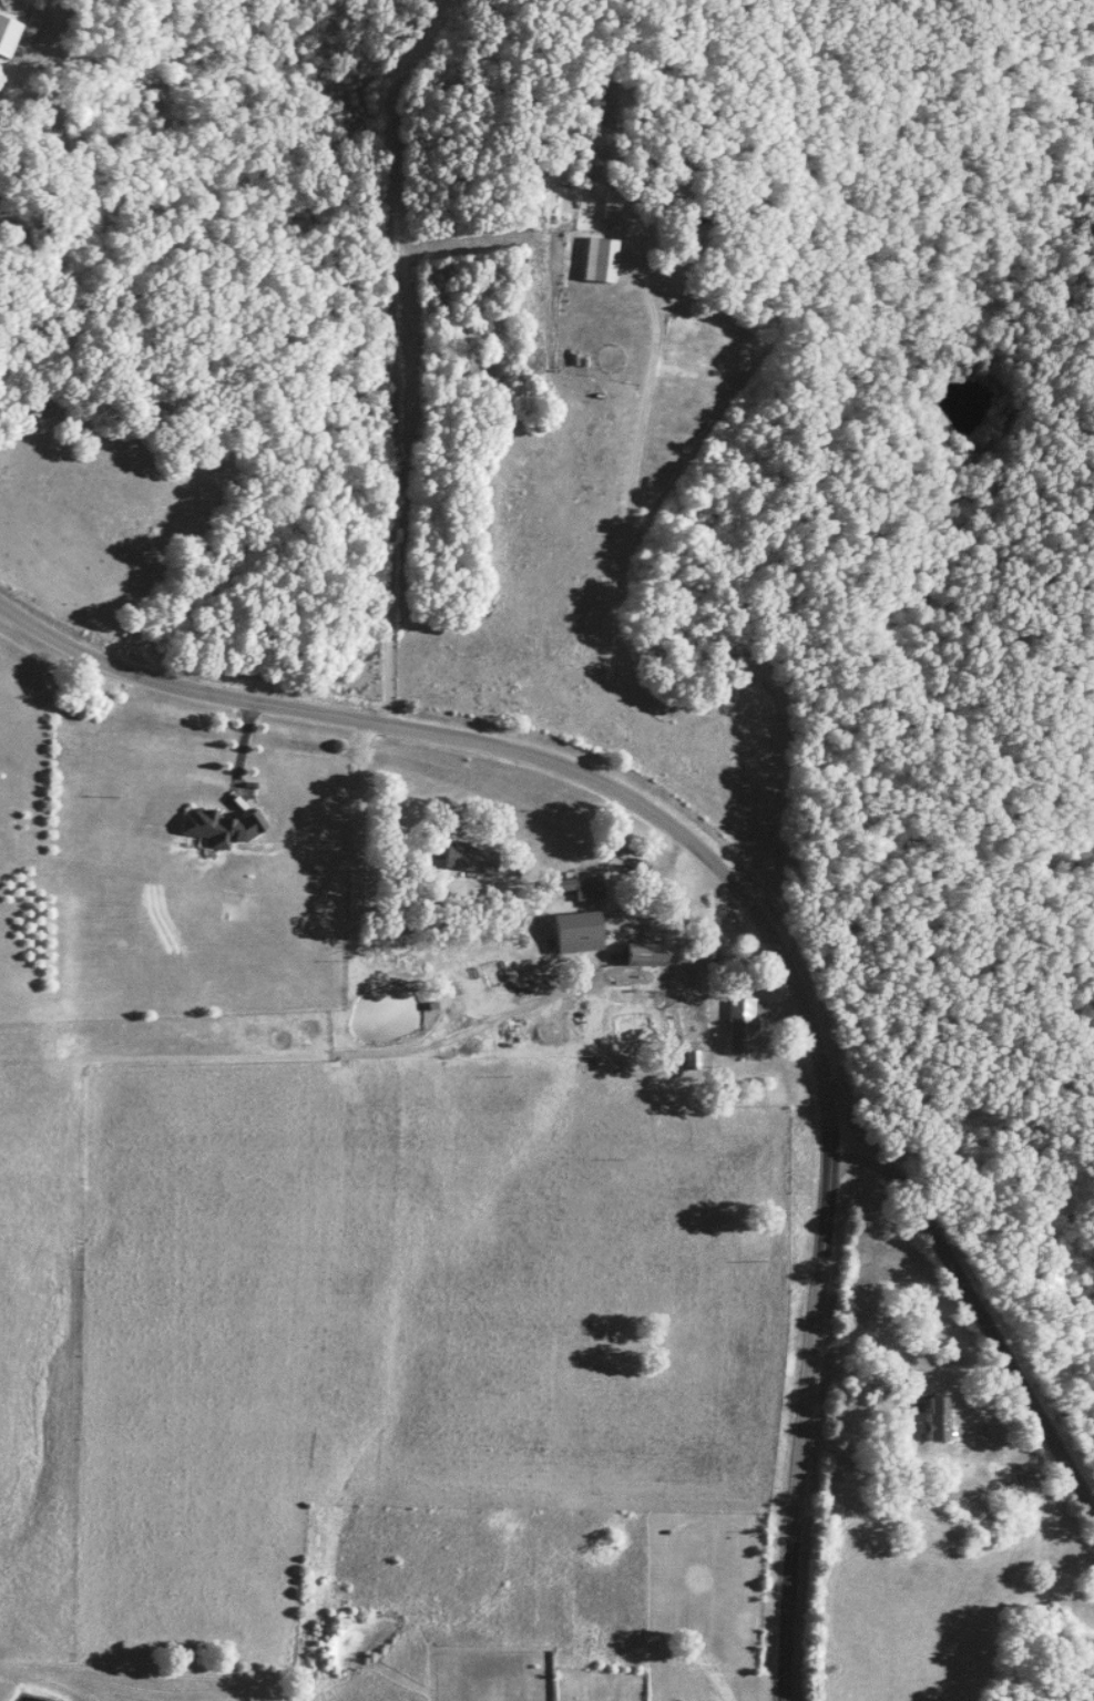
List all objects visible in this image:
building: (7, 39)
building: (609, 208)
building: (596, 260)
road: (386, 440)
road: (624, 638)
road: (237, 754)
building: (217, 827)
building: (462, 860)
building: (572, 888)
road: (740, 904)
road: (686, 918)
building: (571, 932)
building: (635, 953)
building: (737, 1027)
building: (693, 1060)
road: (937, 1093)
road: (972, 1320)
building: (929, 1421)
road: (851, 1422)

